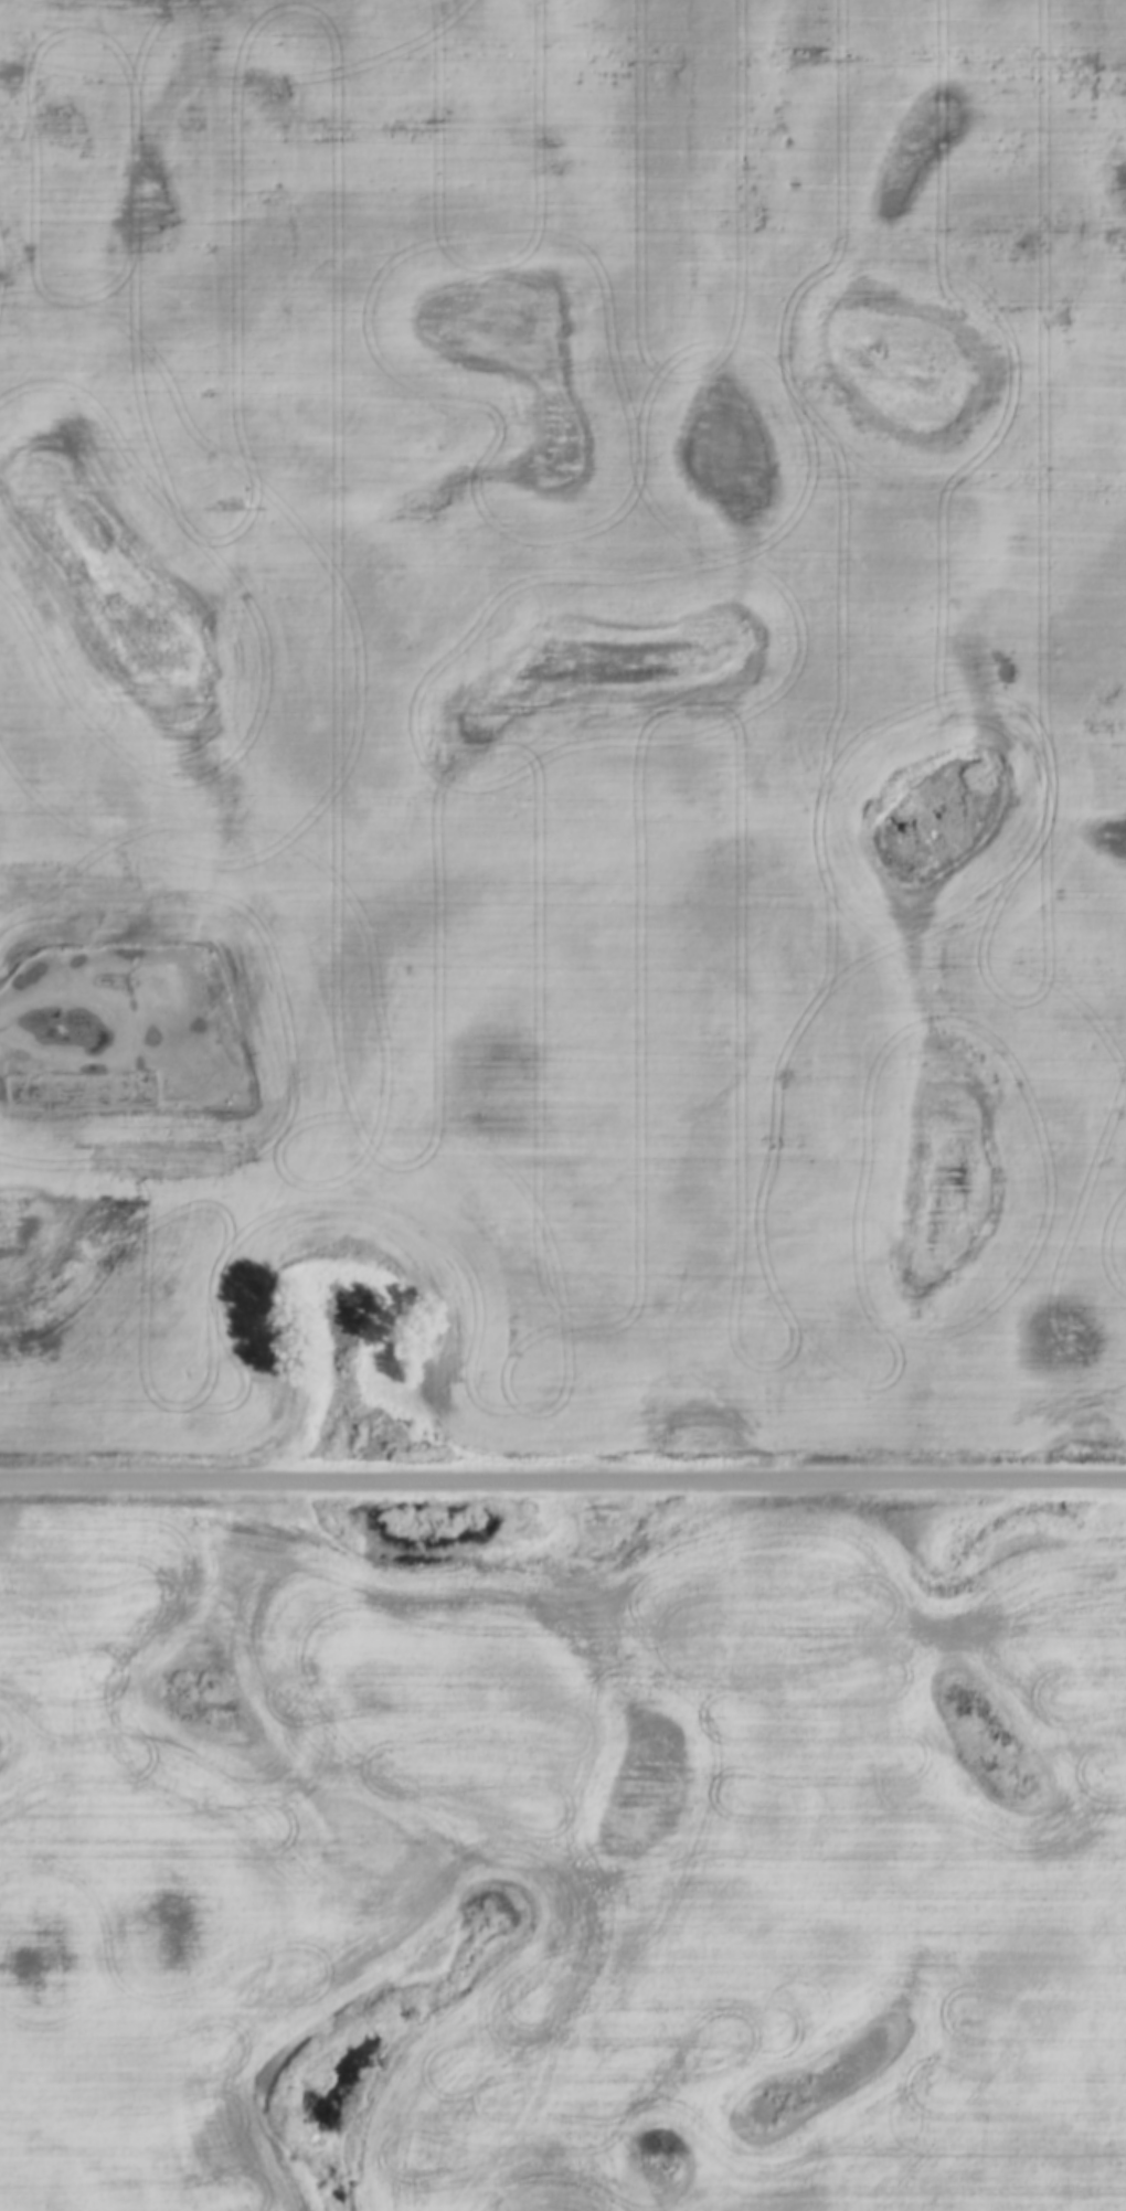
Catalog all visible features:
road: (55, 976)
road: (563, 1482)

